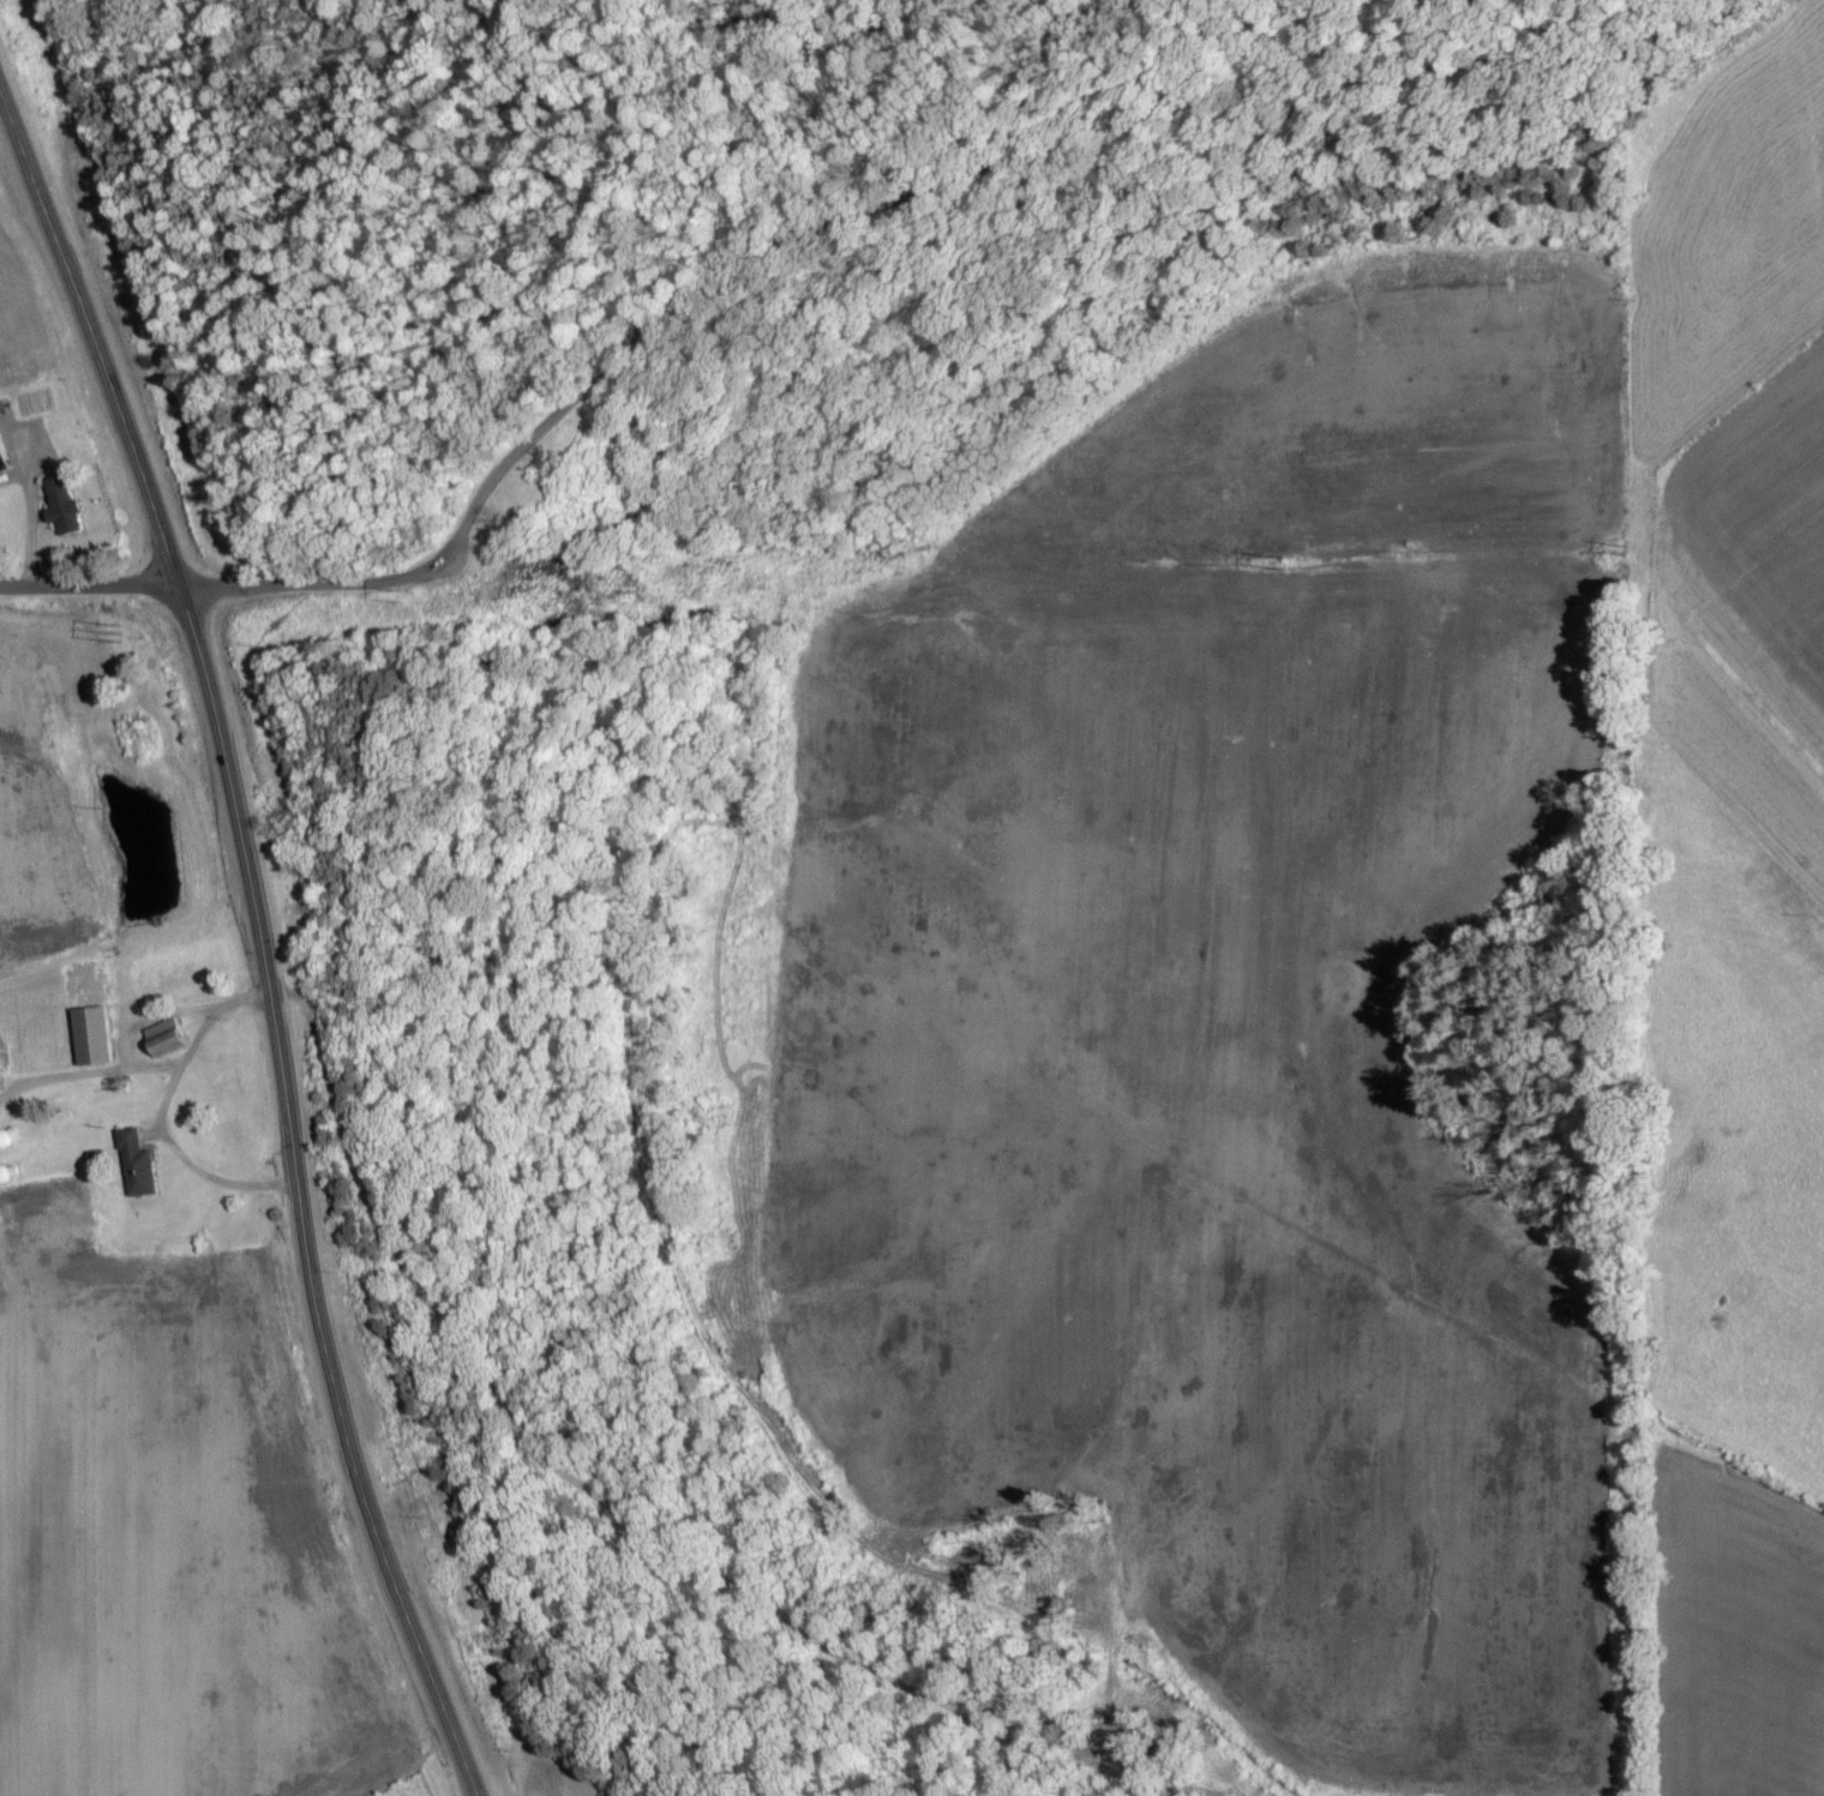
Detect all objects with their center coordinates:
road: (846, 233)
building: (6, 452)
building: (70, 505)
road: (258, 942)
building: (90, 1035)
building: (162, 1038)
building: (0, 1087)
road: (156, 1110)
building: (134, 1165)

